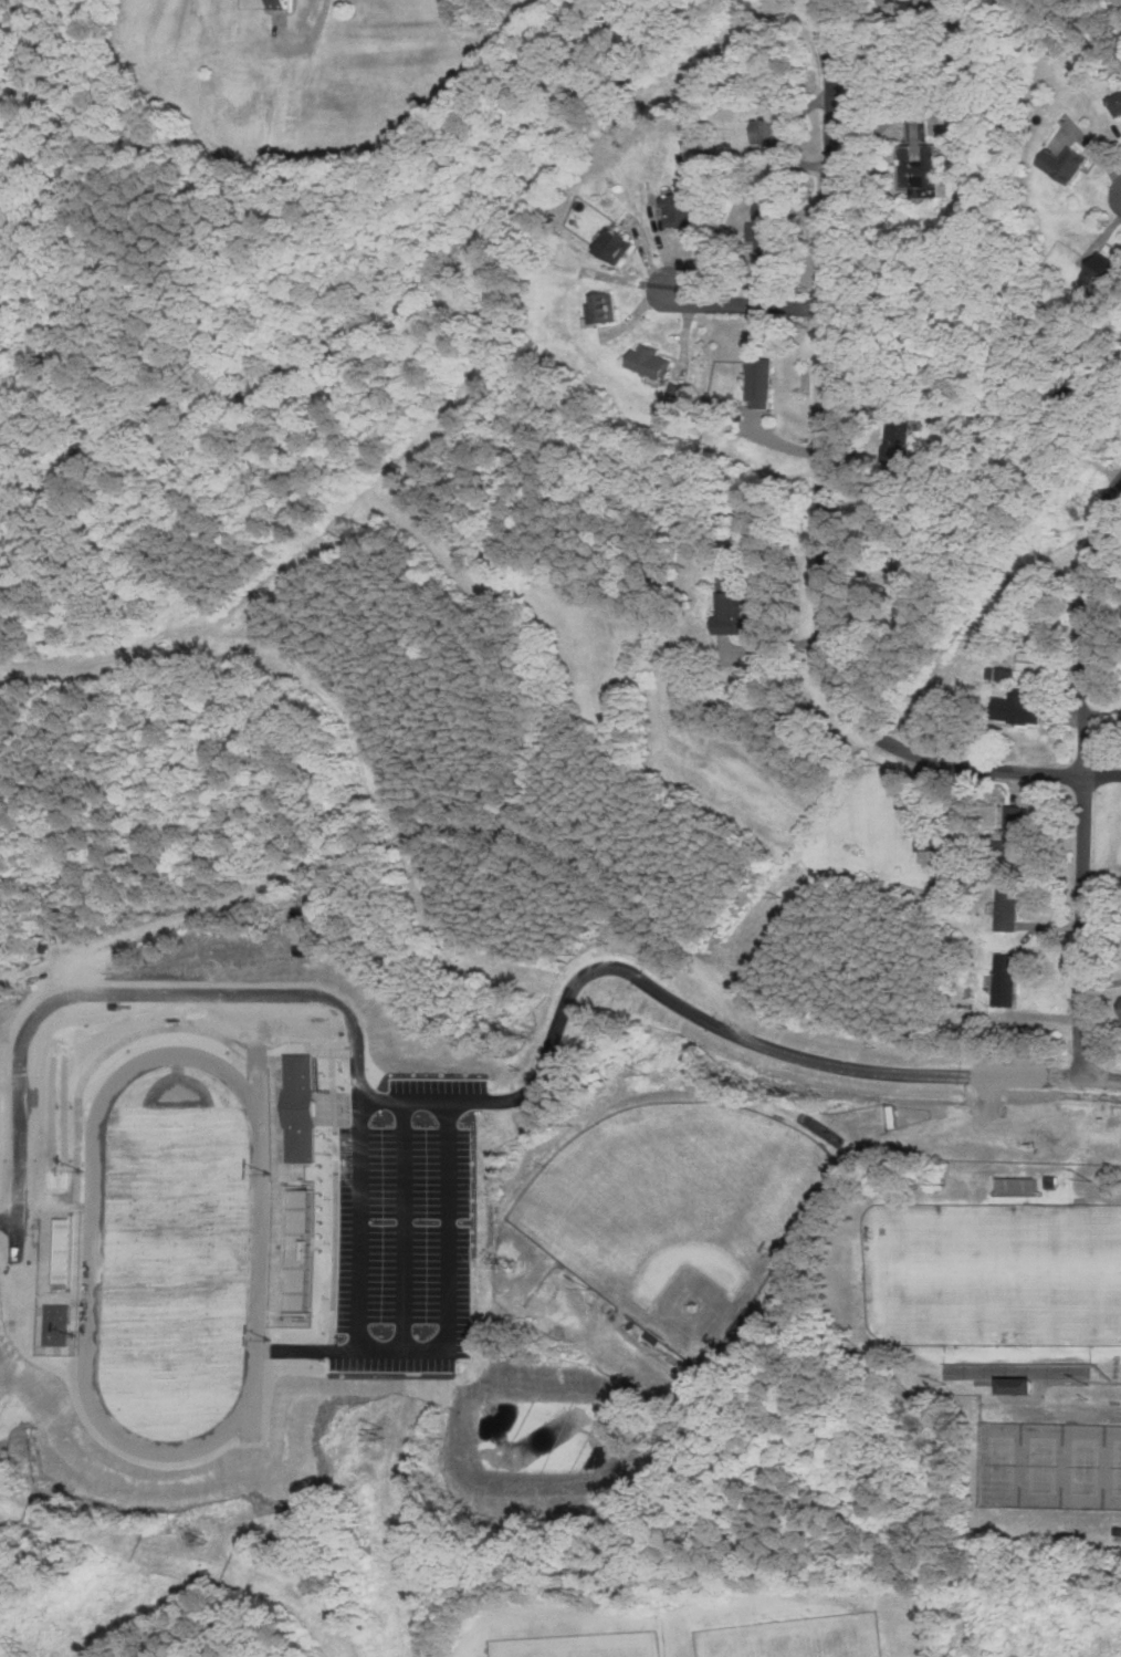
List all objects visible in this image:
building: (282, 4)
road: (310, 37)
road: (890, 59)
building: (1117, 102)
road: (881, 126)
building: (765, 133)
building: (915, 159)
building: (1062, 164)
building: (675, 210)
building: (764, 233)
building: (610, 248)
building: (1099, 270)
road: (746, 303)
building: (598, 310)
building: (645, 363)
building: (757, 384)
building: (1077, 387)
building: (674, 390)
building: (897, 421)
building: (895, 452)
building: (1046, 459)
road: (824, 500)
building: (1030, 660)
building: (1004, 674)
building: (1015, 706)
building: (1120, 721)
road: (1082, 772)
building: (1009, 833)
building: (929, 846)
building: (1005, 909)
building: (1004, 979)
building: (1120, 1000)
road: (1045, 1072)
road: (995, 1117)
building: (1056, 1173)
building: (1022, 1180)
park: (673, 1207)
park: (994, 1272)
stadium: (991, 1274)
building: (651, 1341)
building: (1026, 1366)
building: (1022, 1377)
building: (1022, 1385)
park: (1049, 1465)
building: (1117, 1532)
park: (692, 1618)
park: (793, 1637)
park: (578, 1646)

